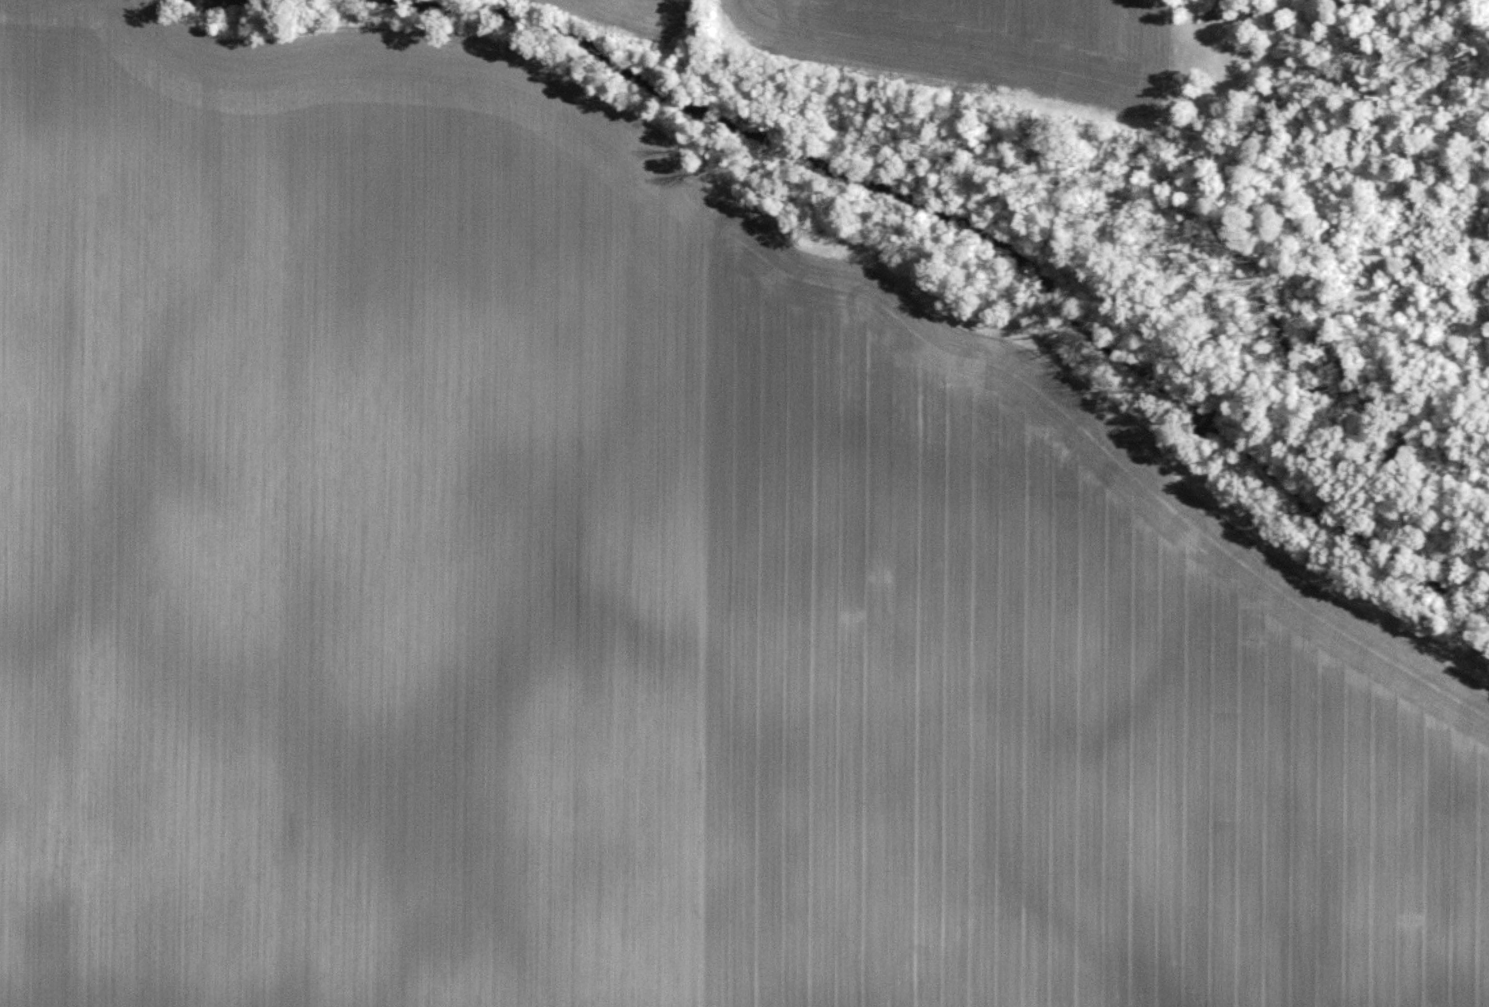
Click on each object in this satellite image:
crop: (641, 15)
crop: (628, 589)

